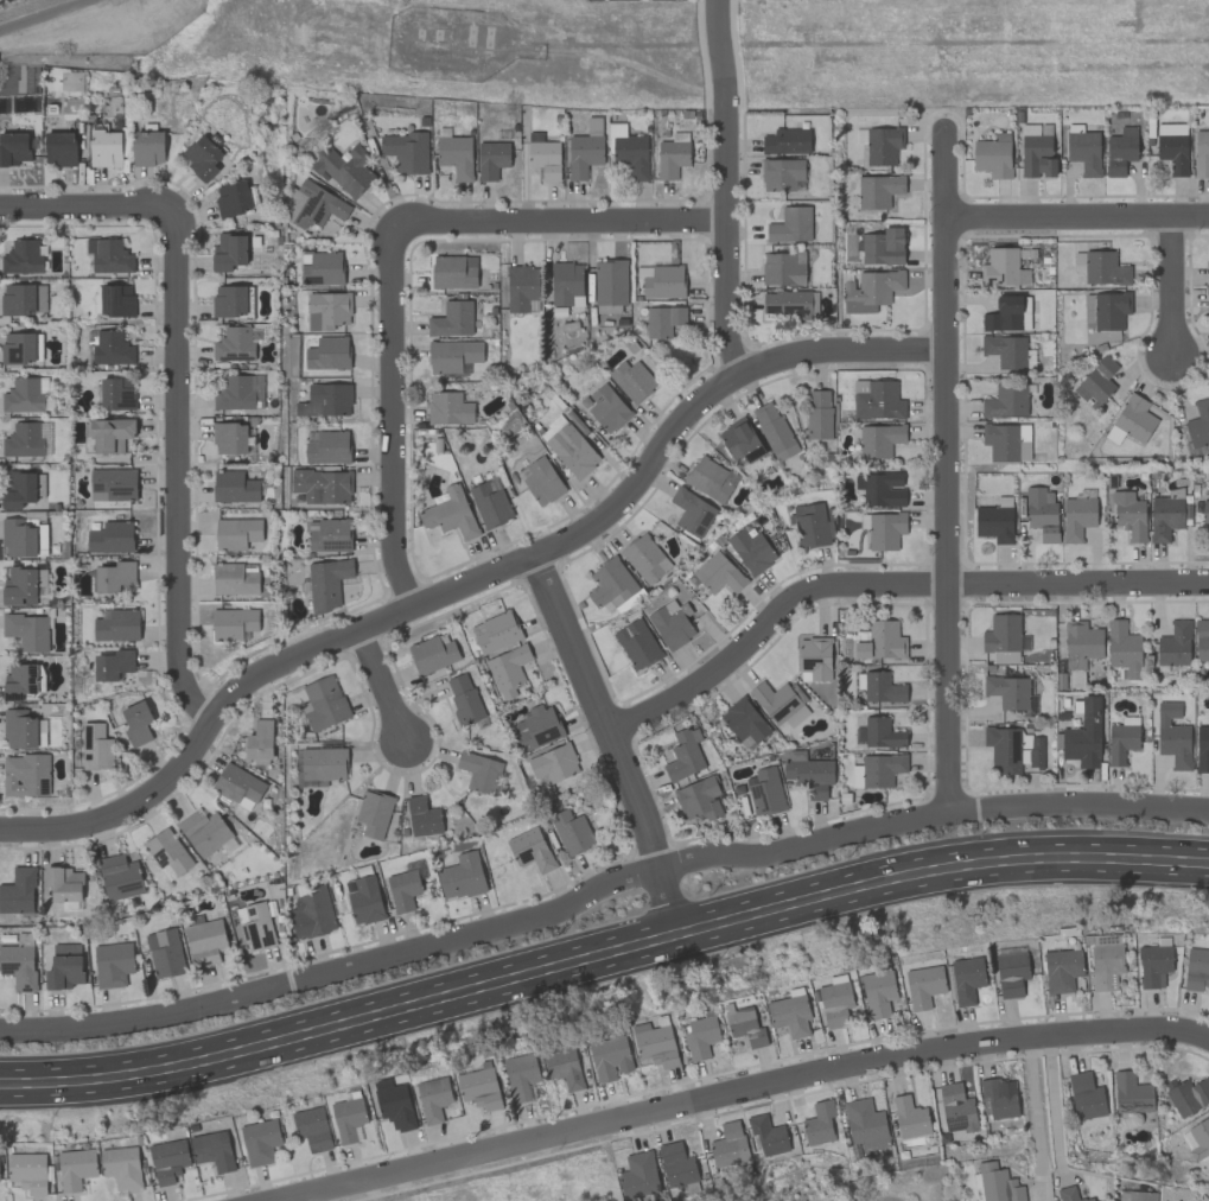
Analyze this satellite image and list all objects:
building: (1171, 128)
building: (785, 141)
building: (883, 145)
building: (147, 147)
building: (13, 148)
building: (61, 148)
building: (106, 148)
building: (1120, 150)
building: (407, 152)
building: (629, 152)
building: (1084, 152)
building: (1173, 153)
building: (1201, 153)
building: (584, 154)
building: (454, 155)
building: (672, 155)
building: (993, 155)
building: (1037, 155)
building: (202, 157)
building: (543, 157)
building: (491, 159)
building: (345, 169)
building: (782, 174)
road: (721, 188)
building: (878, 190)
building: (233, 198)
building: (312, 205)
road: (94, 206)
road: (1076, 220)
road: (561, 222)
building: (790, 225)
building: (883, 247)
building: (229, 252)
building: (109, 255)
building: (23, 256)
building: (1000, 267)
building: (323, 268)
building: (783, 268)
building: (1103, 268)
building: (453, 272)
building: (1208, 272)
building: (1023, 277)
building: (610, 281)
building: (661, 281)
building: (566, 284)
building: (521, 287)
building: (870, 290)
road: (1169, 293)
building: (23, 298)
building: (116, 300)
building: (230, 300)
building: (1207, 300)
building: (789, 304)
building: (327, 310)
building: (1111, 310)
building: (1088, 311)
building: (1006, 314)
building: (452, 319)
building: (663, 320)
building: (234, 344)
building: (21, 347)
building: (109, 348)
building: (1005, 350)
building: (327, 352)
building: (452, 355)
building: (631, 380)
building: (1096, 382)
building: (240, 392)
building: (116, 393)
building: (25, 395)
building: (326, 400)
building: (878, 401)
building: (1006, 401)
building: (448, 408)
building: (607, 408)
building: (817, 414)
building: (1134, 418)
road: (392, 419)
building: (1198, 424)
building: (774, 431)
building: (110, 434)
building: (230, 438)
building: (23, 439)
building: (879, 439)
building: (740, 441)
building: (1006, 441)
building: (327, 447)
building: (572, 450)
road: (944, 470)
building: (710, 478)
building: (540, 481)
building: (113, 484)
road: (174, 484)
building: (322, 485)
building: (234, 487)
building: (880, 488)
building: (19, 489)
building: (490, 503)
building: (1204, 507)
building: (691, 511)
building: (450, 513)
building: (1042, 513)
building: (1130, 515)
building: (1077, 517)
building: (1165, 517)
building: (813, 523)
building: (994, 523)
building: (885, 530)
building: (236, 533)
building: (329, 534)
building: (110, 536)
building: (23, 538)
building: (751, 551)
building: (644, 559)
building: (718, 573)
building: (114, 577)
building: (234, 578)
road: (473, 579)
building: (42, 582)
building: (326, 583)
building: (610, 583)
road: (884, 584)
building: (19, 586)
building: (233, 623)
building: (672, 623)
building: (116, 625)
building: (27, 631)
building: (495, 631)
building: (1001, 634)
building: (1201, 640)
building: (882, 641)
building: (637, 643)
building: (1081, 643)
building: (1173, 644)
building: (1122, 648)
building: (432, 654)
building: (814, 657)
building: (113, 665)
building: (507, 671)
building: (21, 678)
road: (381, 686)
building: (882, 688)
building: (1007, 691)
building: (464, 698)
building: (324, 703)
building: (778, 704)
building: (136, 723)
building: (744, 723)
building: (537, 726)
building: (24, 730)
building: (882, 732)
building: (1084, 736)
building: (1122, 739)
building: (259, 742)
road: (612, 742)
building: (1175, 745)
building: (96, 746)
building: (1202, 749)
building: (683, 755)
building: (553, 763)
building: (320, 765)
building: (882, 769)
building: (479, 771)
building: (28, 773)
building: (808, 773)
building: (855, 775)
building: (237, 783)
building: (765, 792)
building: (700, 799)
building: (374, 813)
building: (422, 816)
building: (204, 831)
building: (571, 832)
building: (530, 849)
building: (167, 853)
building: (462, 876)
building: (119, 877)
building: (64, 884)
road: (599, 885)
building: (402, 890)
building: (18, 891)
building: (363, 898)
building: (311, 914)
building: (255, 926)
building: (205, 942)
building: (164, 953)
road: (602, 954)
building: (113, 964)
building: (1106, 964)
building: (1153, 965)
building: (64, 966)
building: (1197, 968)
building: (1062, 970)
building: (1011, 973)
building: (967, 978)
building: (924, 986)
building: (878, 993)
building: (835, 1003)
building: (789, 1015)
building: (745, 1027)
building: (701, 1036)
building: (610, 1057)
building: (564, 1066)
building: (521, 1075)
building: (478, 1088)
road: (745, 1089)
building: (1131, 1093)
building: (1188, 1094)
building: (1086, 1095)
building: (433, 1098)
building: (999, 1098)
road: (1051, 1100)
road: (1031, 1102)
building: (395, 1106)
building: (956, 1107)
building: (349, 1118)
building: (910, 1118)
building: (819, 1123)
building: (865, 1125)
building: (313, 1127)
building: (768, 1135)
building: (1200, 1138)
building: (261, 1140)
building: (728, 1145)
building: (214, 1150)
building: (168, 1159)
building: (676, 1164)
building: (121, 1167)
building: (76, 1168)
building: (27, 1171)
building: (638, 1175)
building: (998, 1183)
building: (1070, 1194)
building: (1141, 1196)
road: (1208, 1197)

